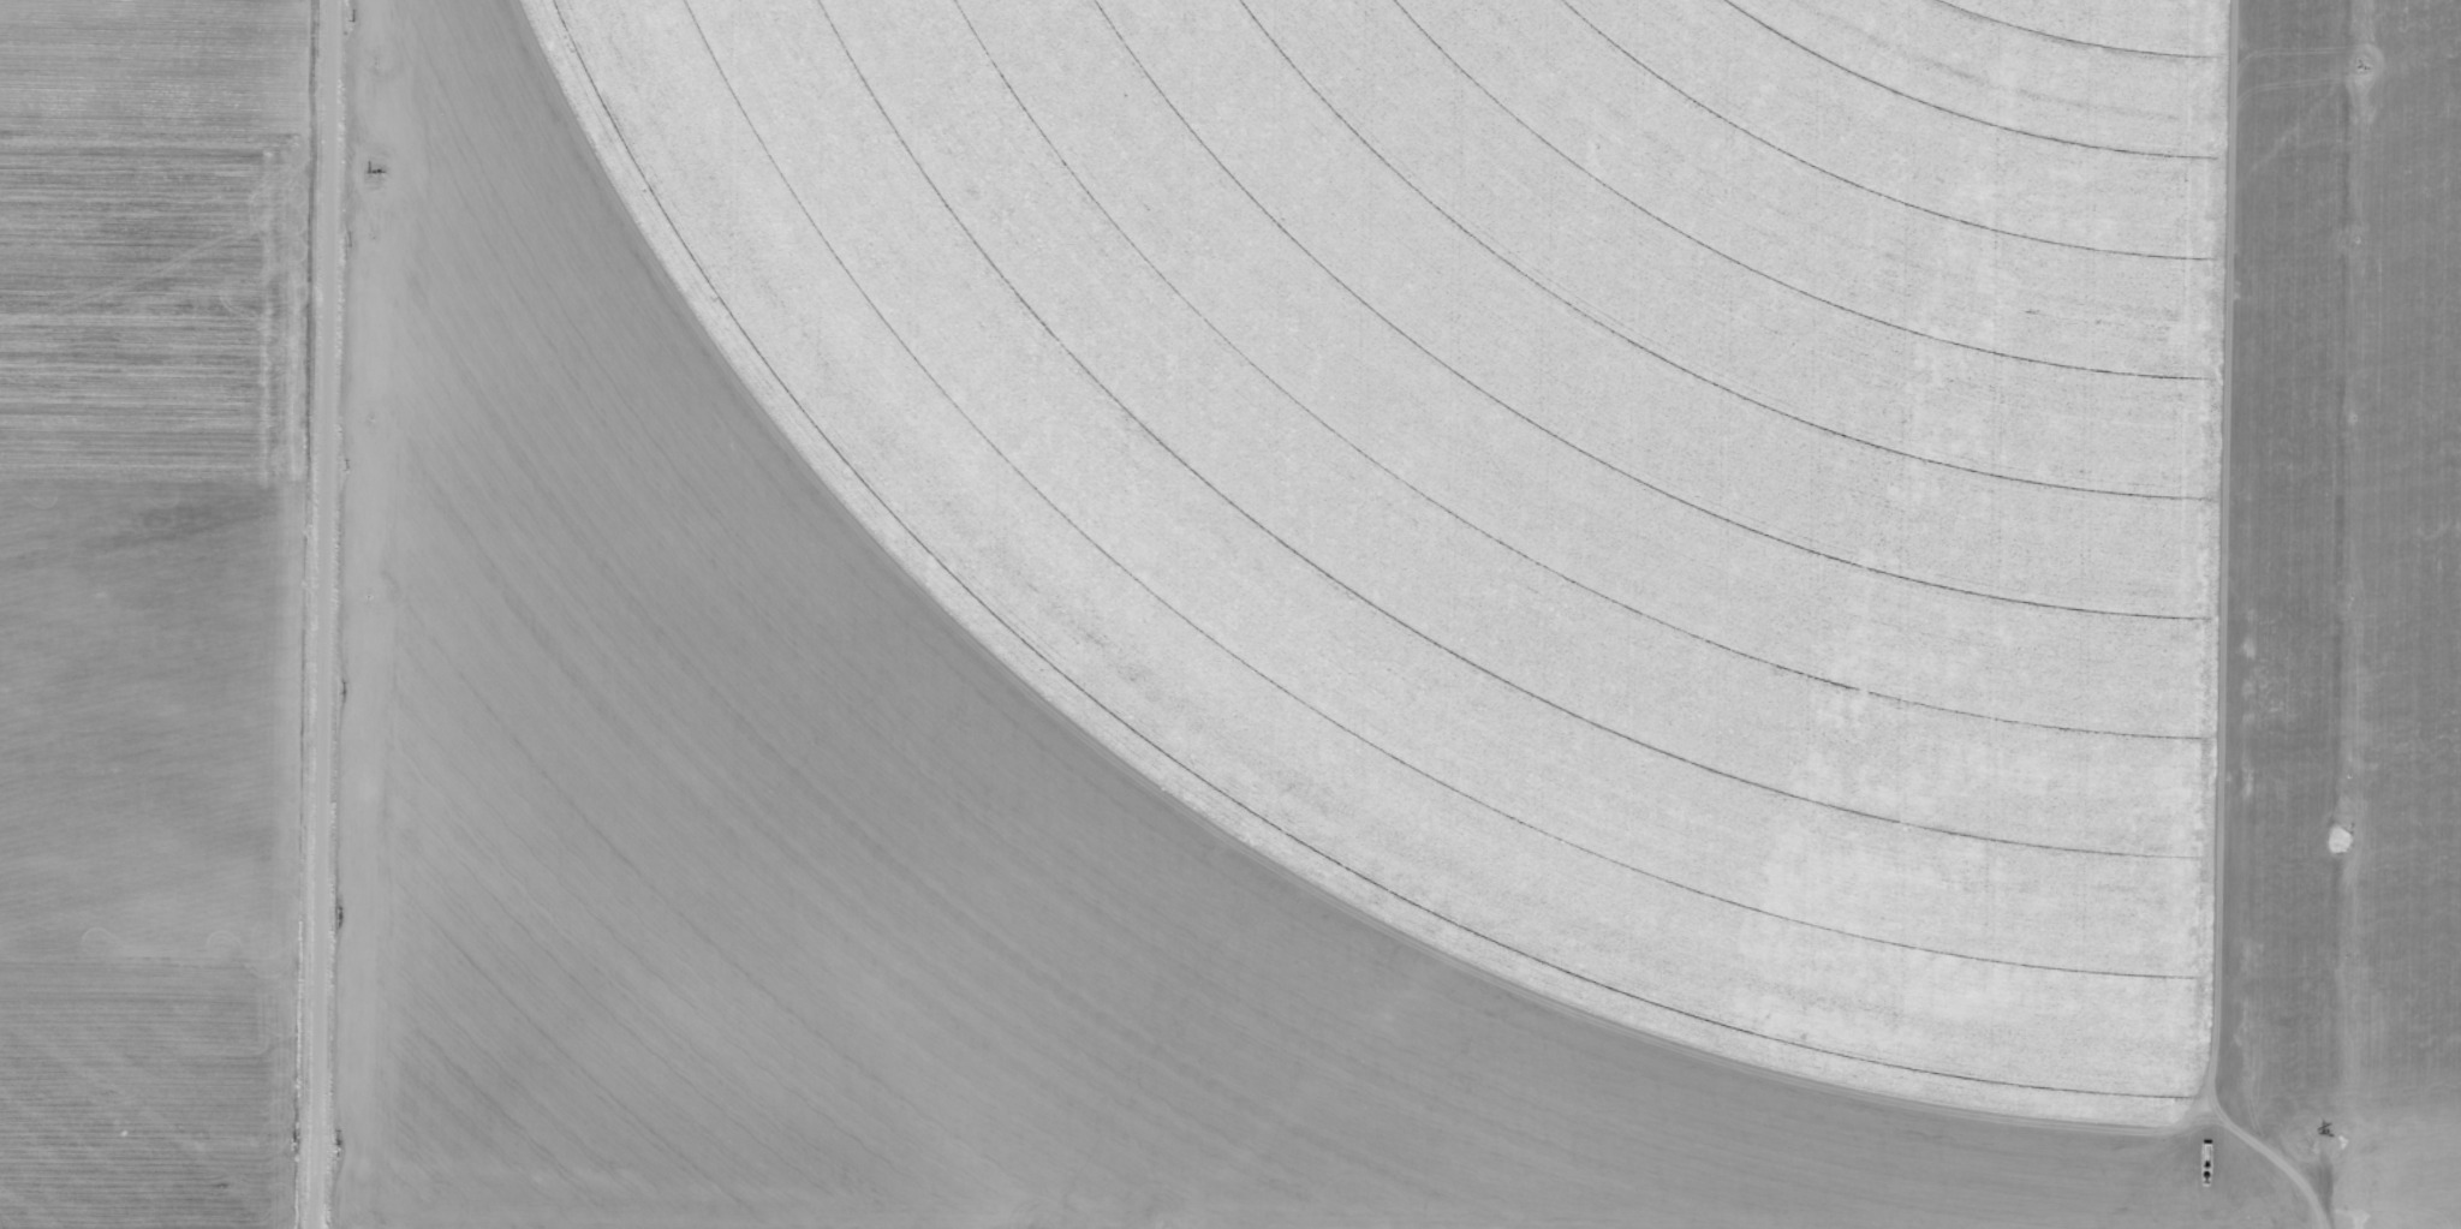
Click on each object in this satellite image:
road: (327, 614)

